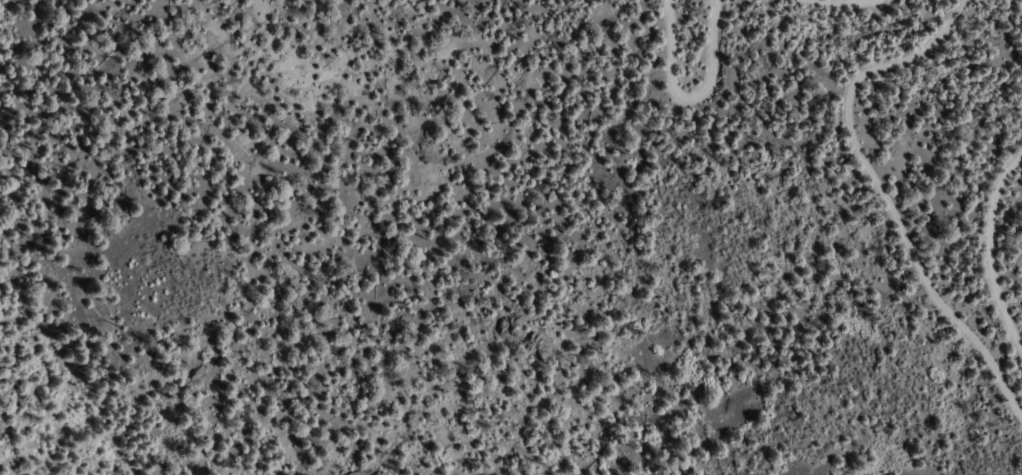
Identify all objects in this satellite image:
road: (836, 4)
road: (689, 100)
road: (883, 195)
road: (989, 254)

